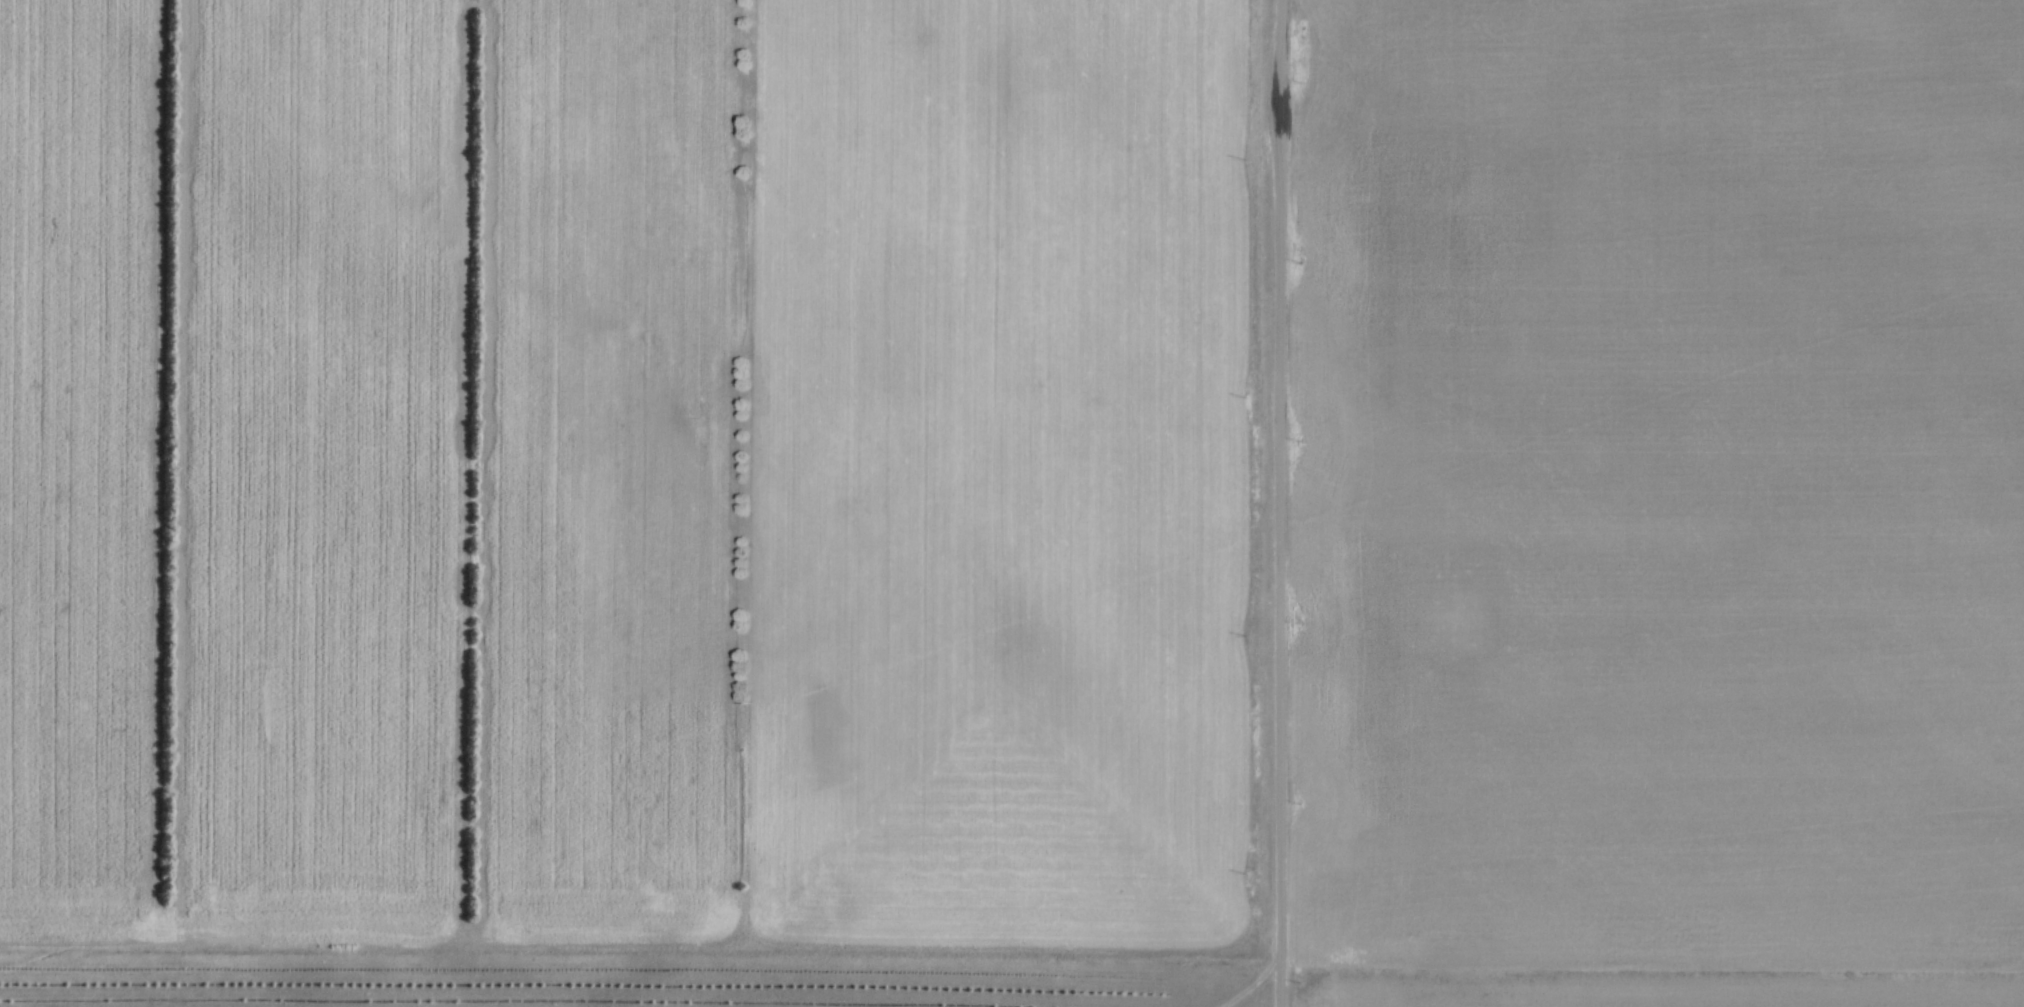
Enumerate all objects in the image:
crop: (629, 473)
road: (1277, 503)
crop: (1659, 504)

